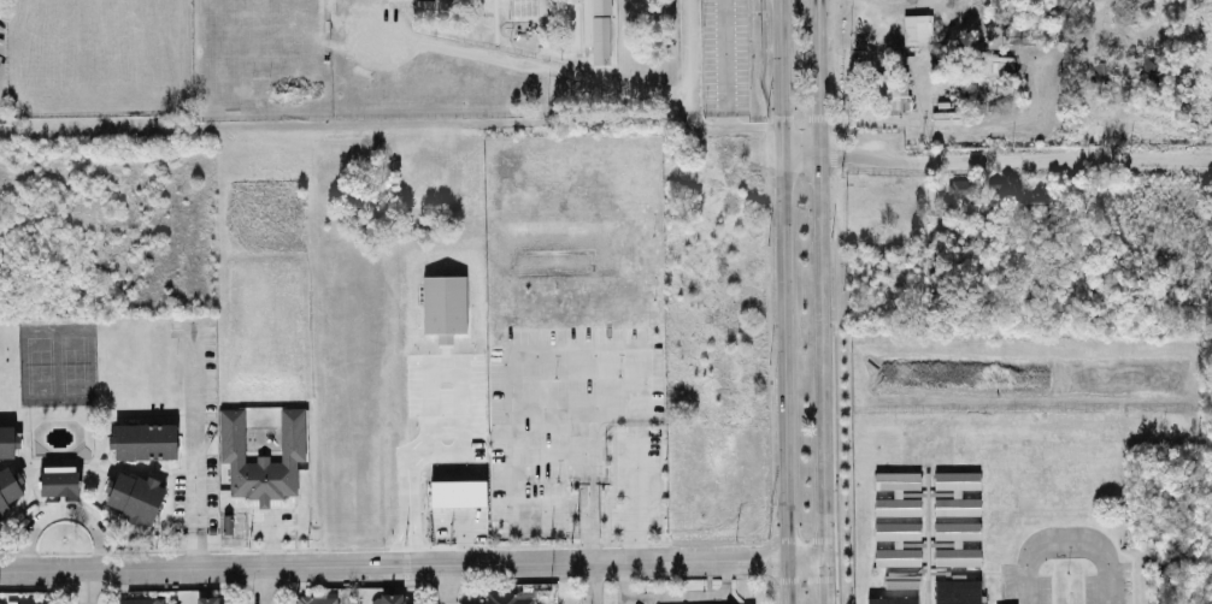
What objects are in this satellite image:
building: (357, 1)
building: (587, 25)
building: (917, 29)
road: (726, 63)
building: (1152, 65)
road: (536, 66)
building: (1000, 66)
building: (1102, 67)
building: (894, 91)
road: (690, 106)
road: (998, 153)
building: (963, 186)
building: (994, 190)
road: (786, 301)
road: (822, 302)
building: (445, 306)
road: (598, 348)
road: (458, 371)
road: (192, 430)
building: (8, 440)
building: (143, 440)
building: (263, 456)
building: (59, 480)
building: (898, 480)
building: (8, 487)
building: (458, 492)
building: (957, 492)
building: (135, 496)
building: (898, 505)
road: (61, 511)
road: (1067, 541)
building: (957, 543)
road: (193, 549)
road: (411, 564)
road: (726, 575)
building: (902, 579)
road: (590, 582)
road: (447, 584)
road: (264, 585)
road: (84, 586)
building: (957, 591)
road: (660, 594)
building: (511, 597)
building: (317, 598)
building: (388, 598)
building: (207, 599)
building: (141, 600)
building: (30, 602)

